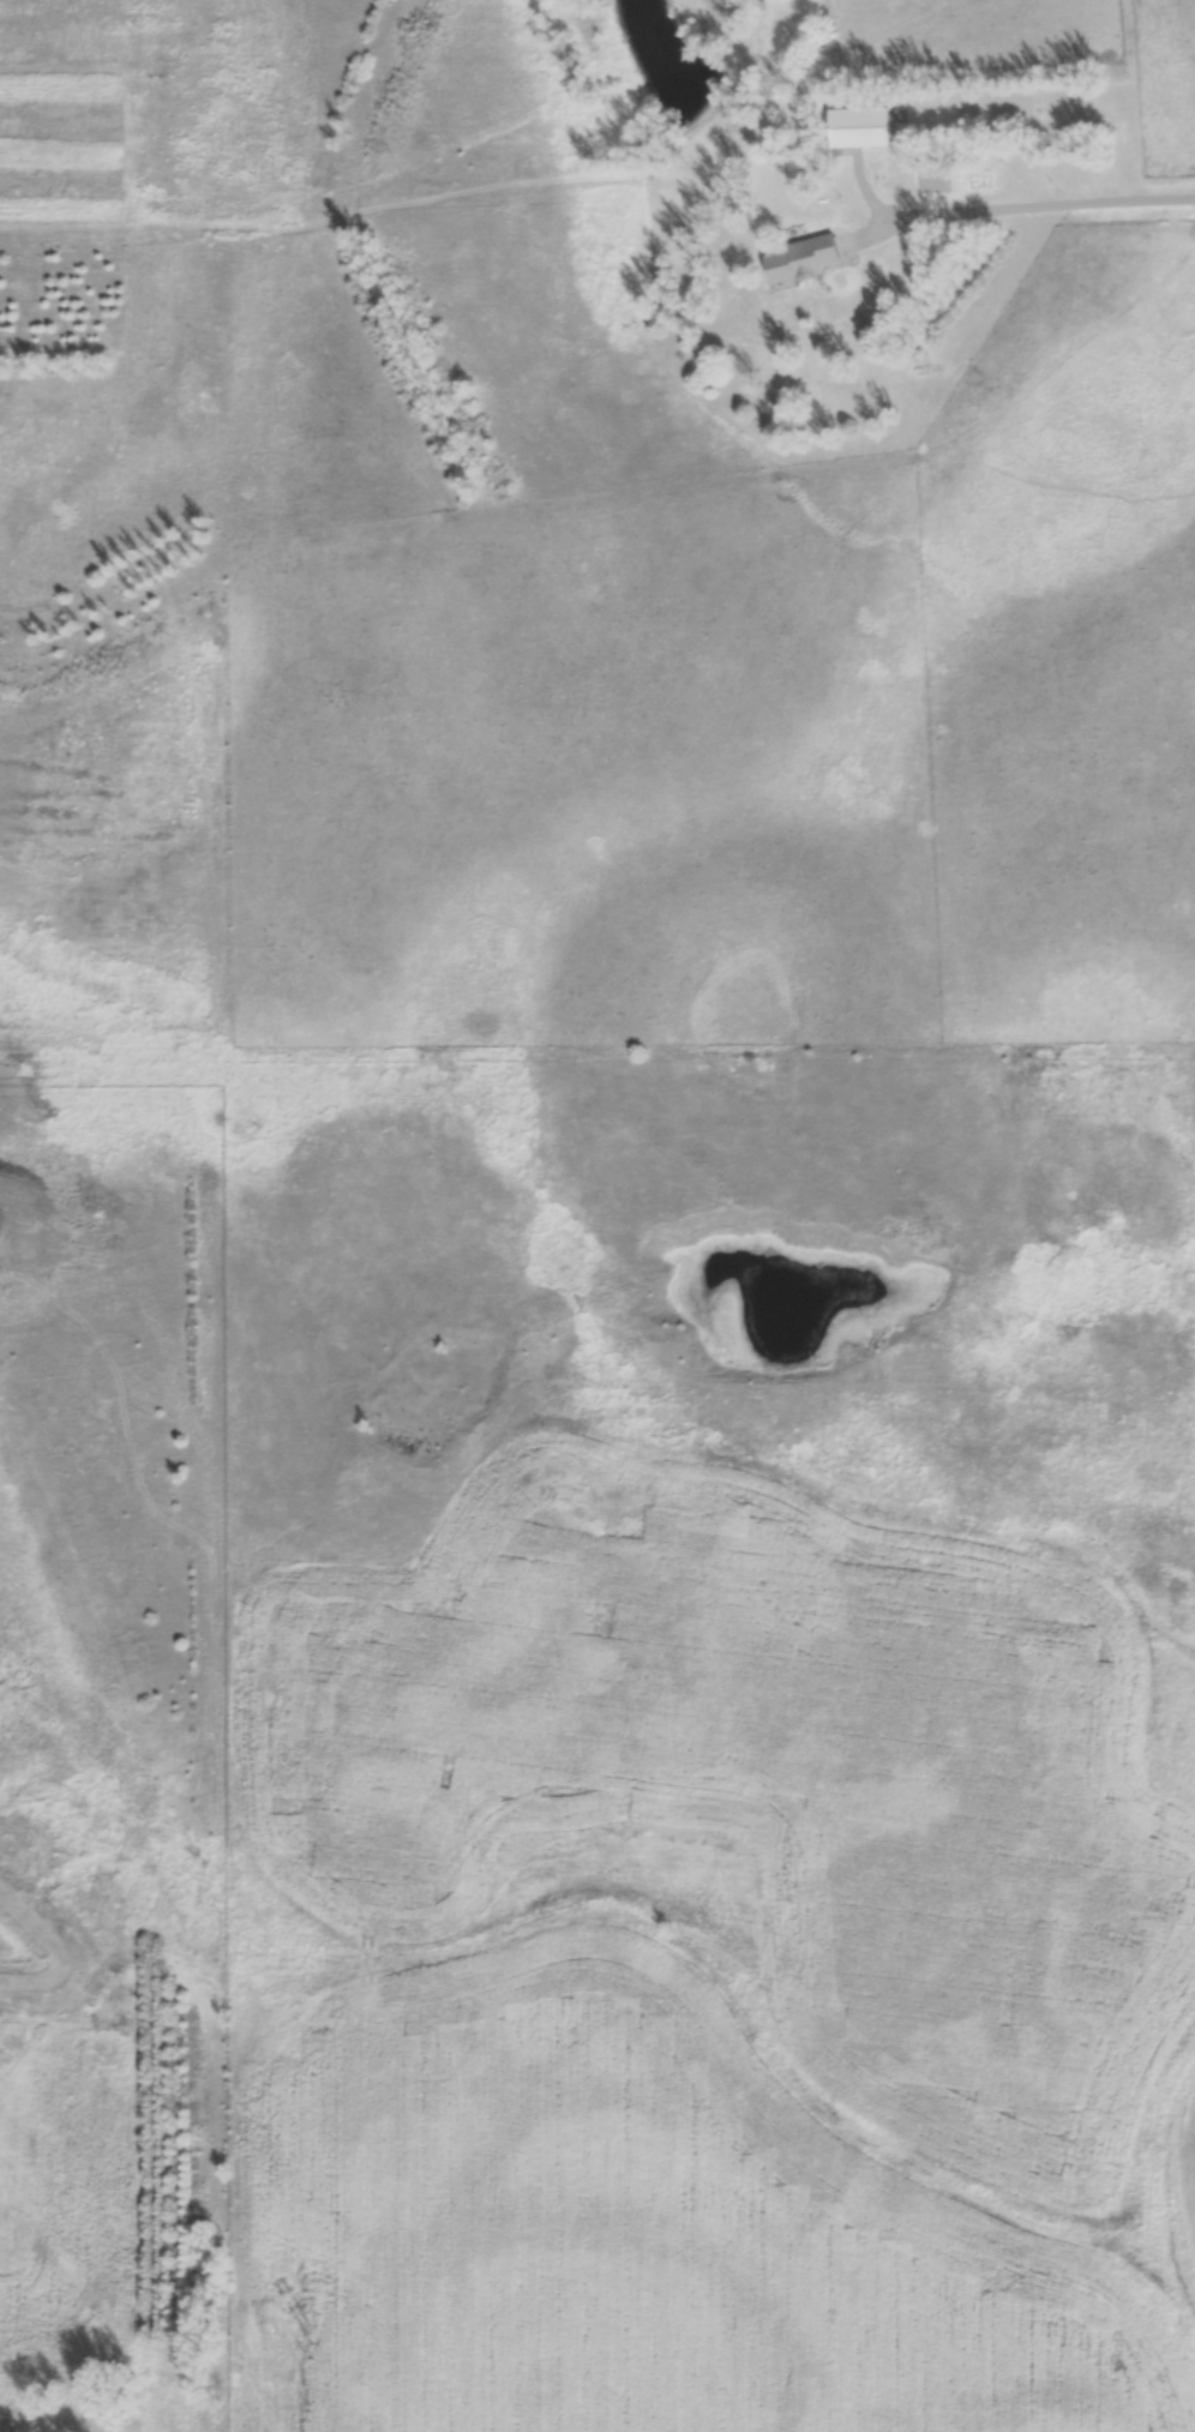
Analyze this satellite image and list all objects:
building: (861, 127)
road: (1033, 204)
building: (803, 257)
crop: (708, 1963)
crop: (64, 2200)

